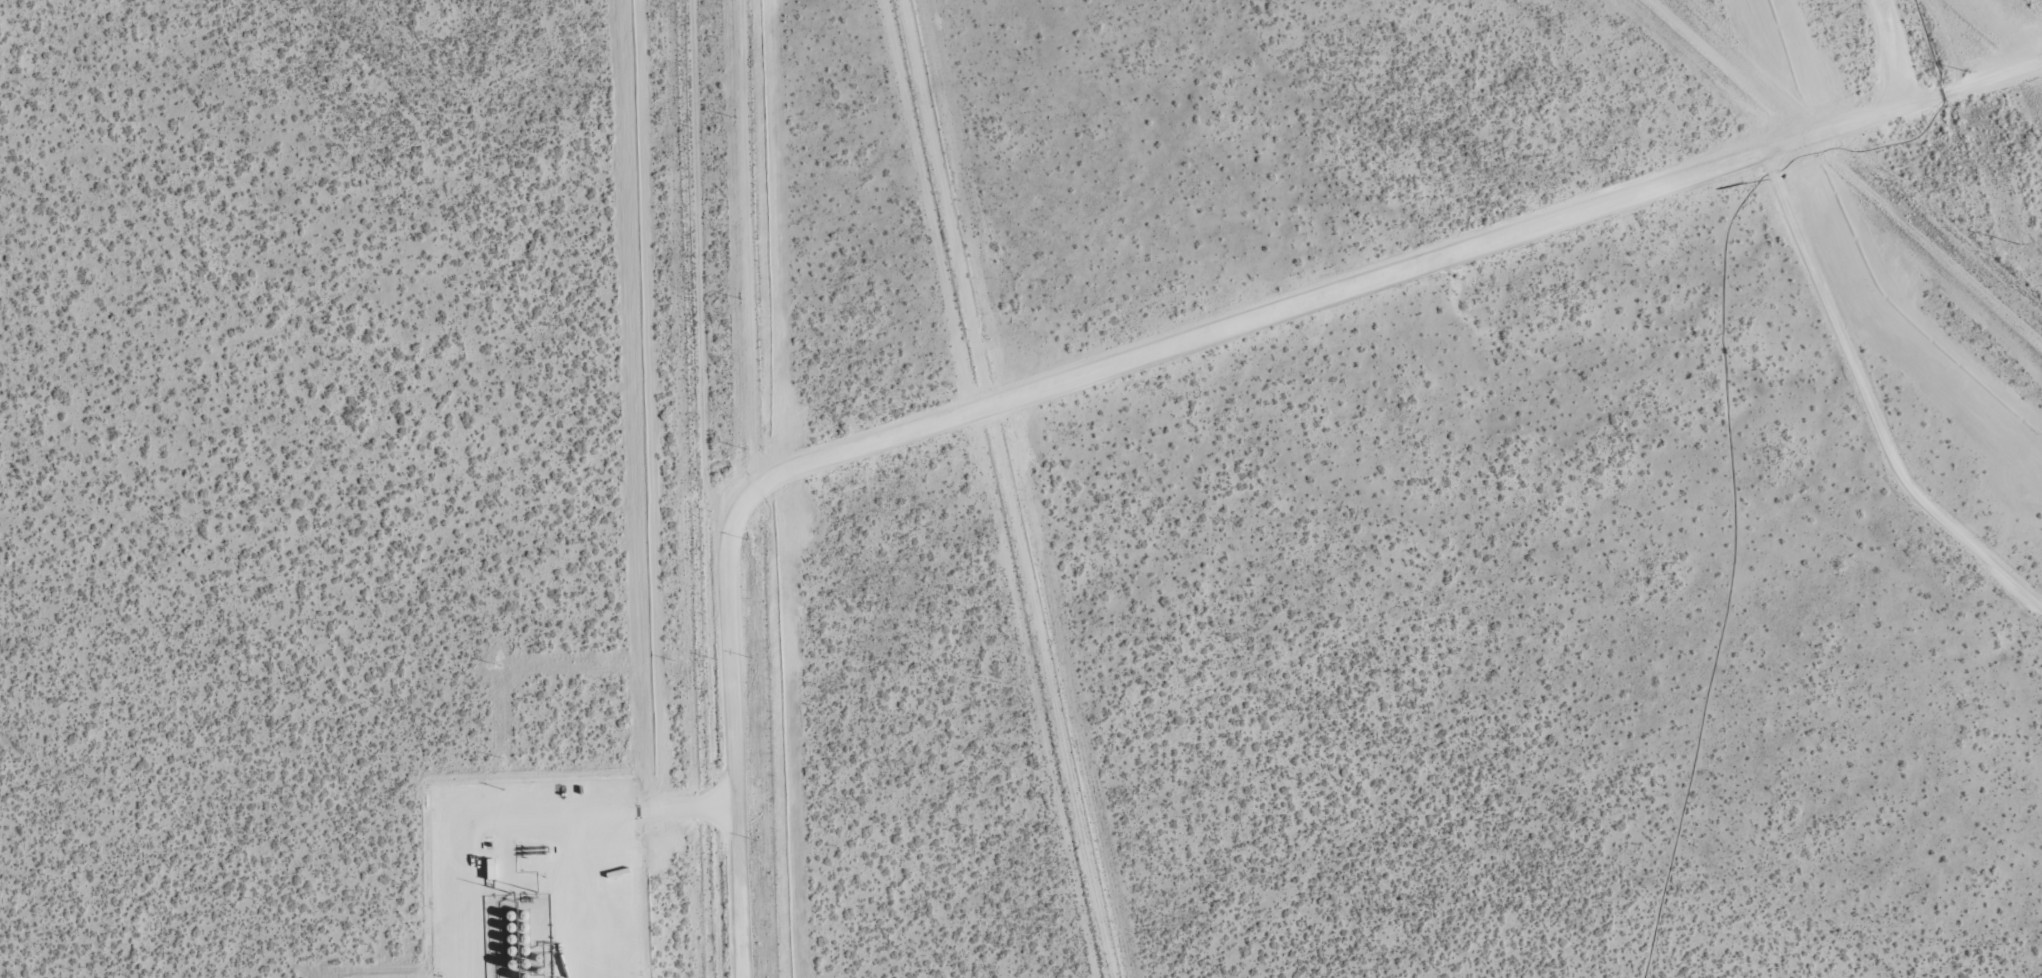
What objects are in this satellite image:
power tower: (1965, 71)
road: (1945, 199)
power tower: (2018, 244)
road: (1157, 348)

